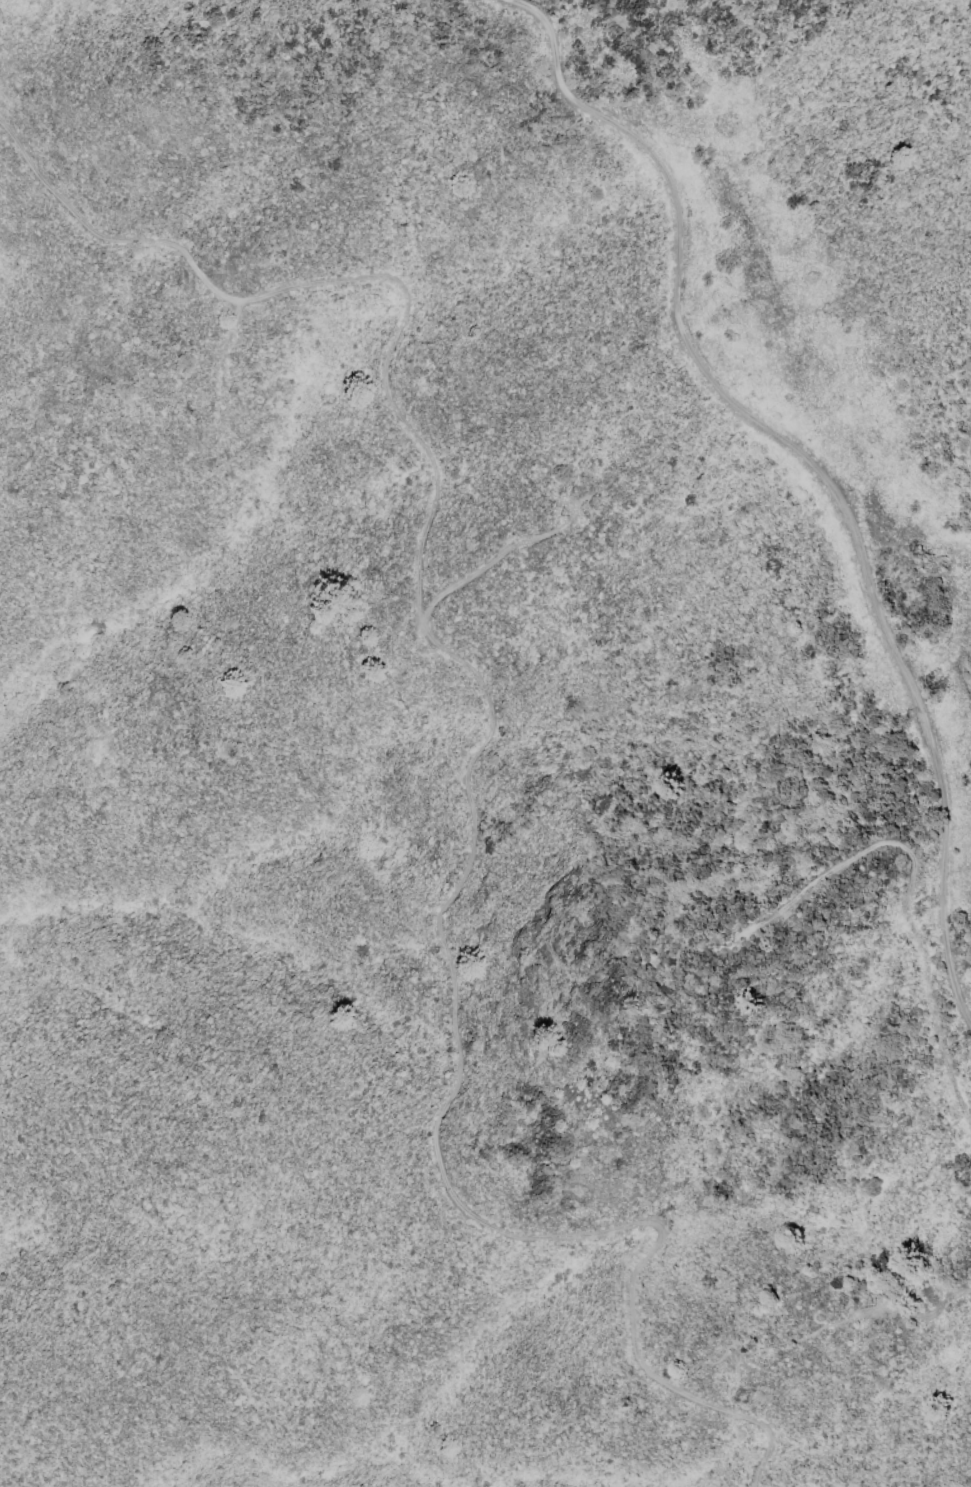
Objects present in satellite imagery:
road: (806, 461)
road: (473, 760)
park: (86, 826)

